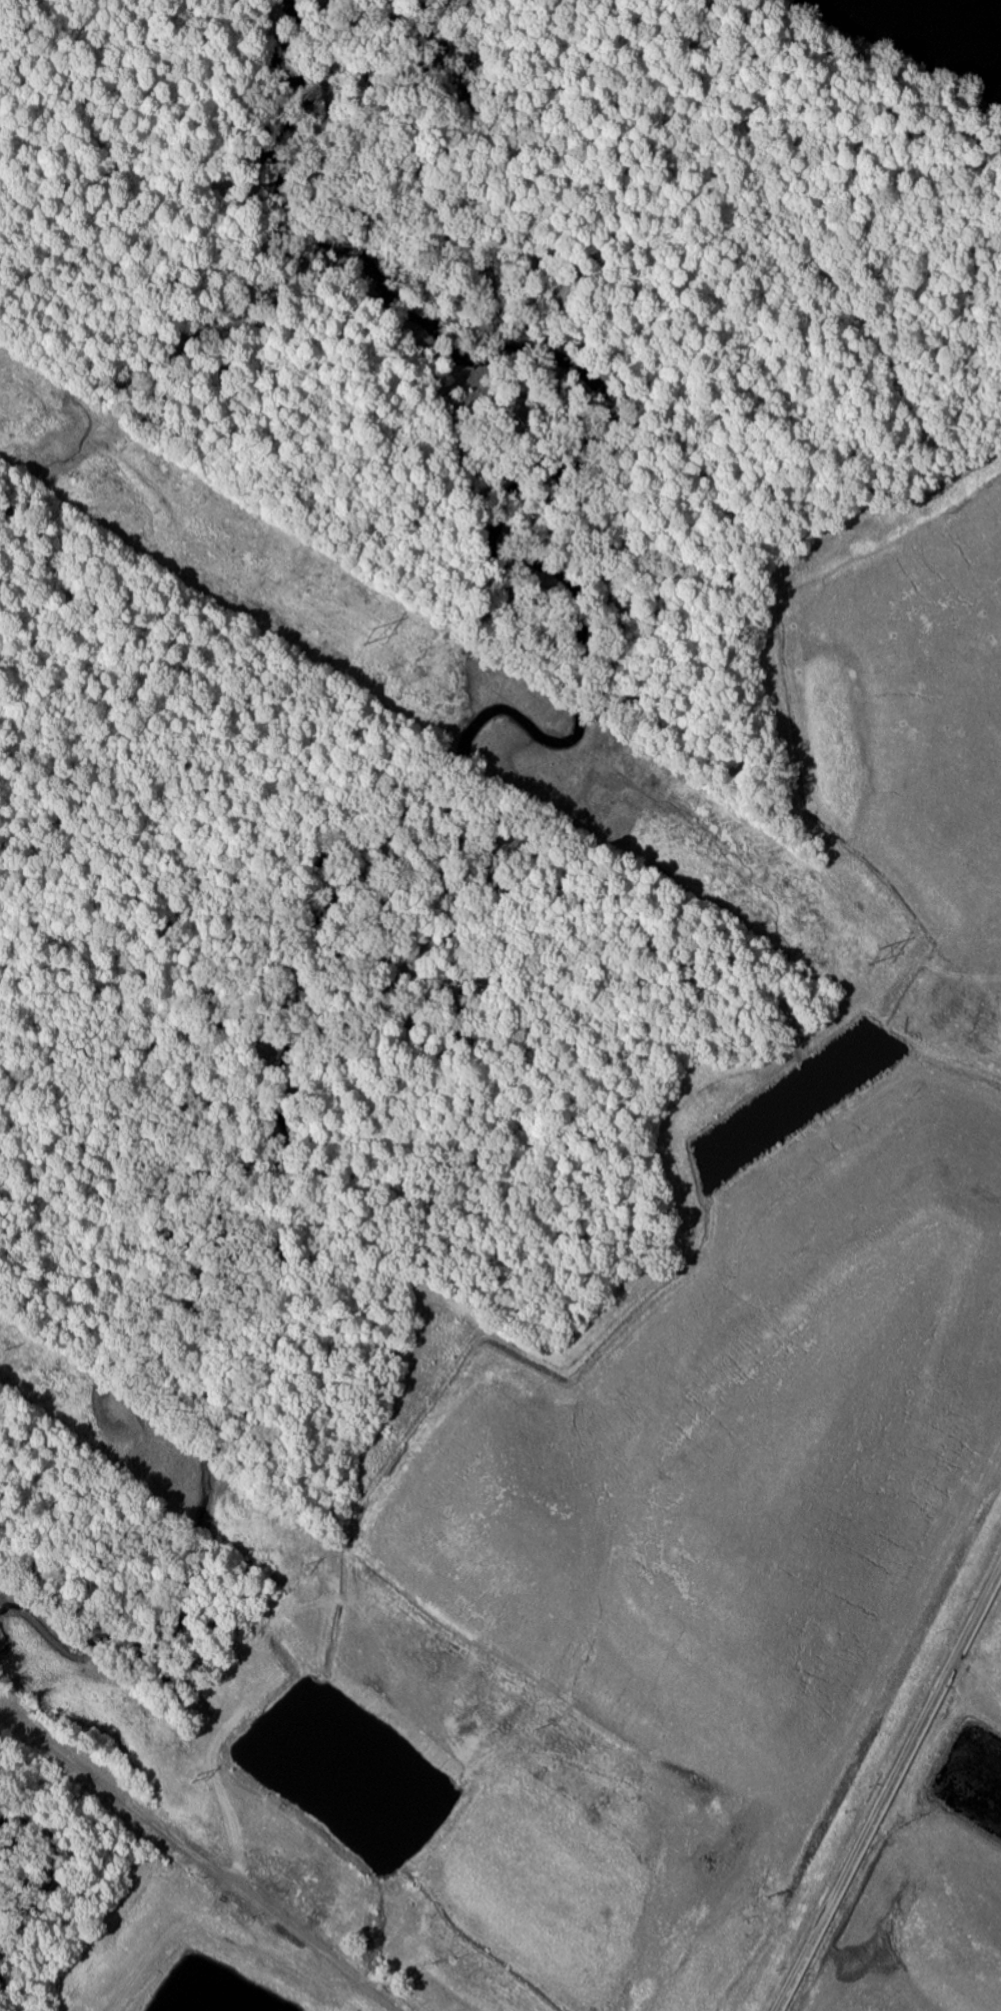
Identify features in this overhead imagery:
power tower: (367, 638)
power tower: (873, 956)

